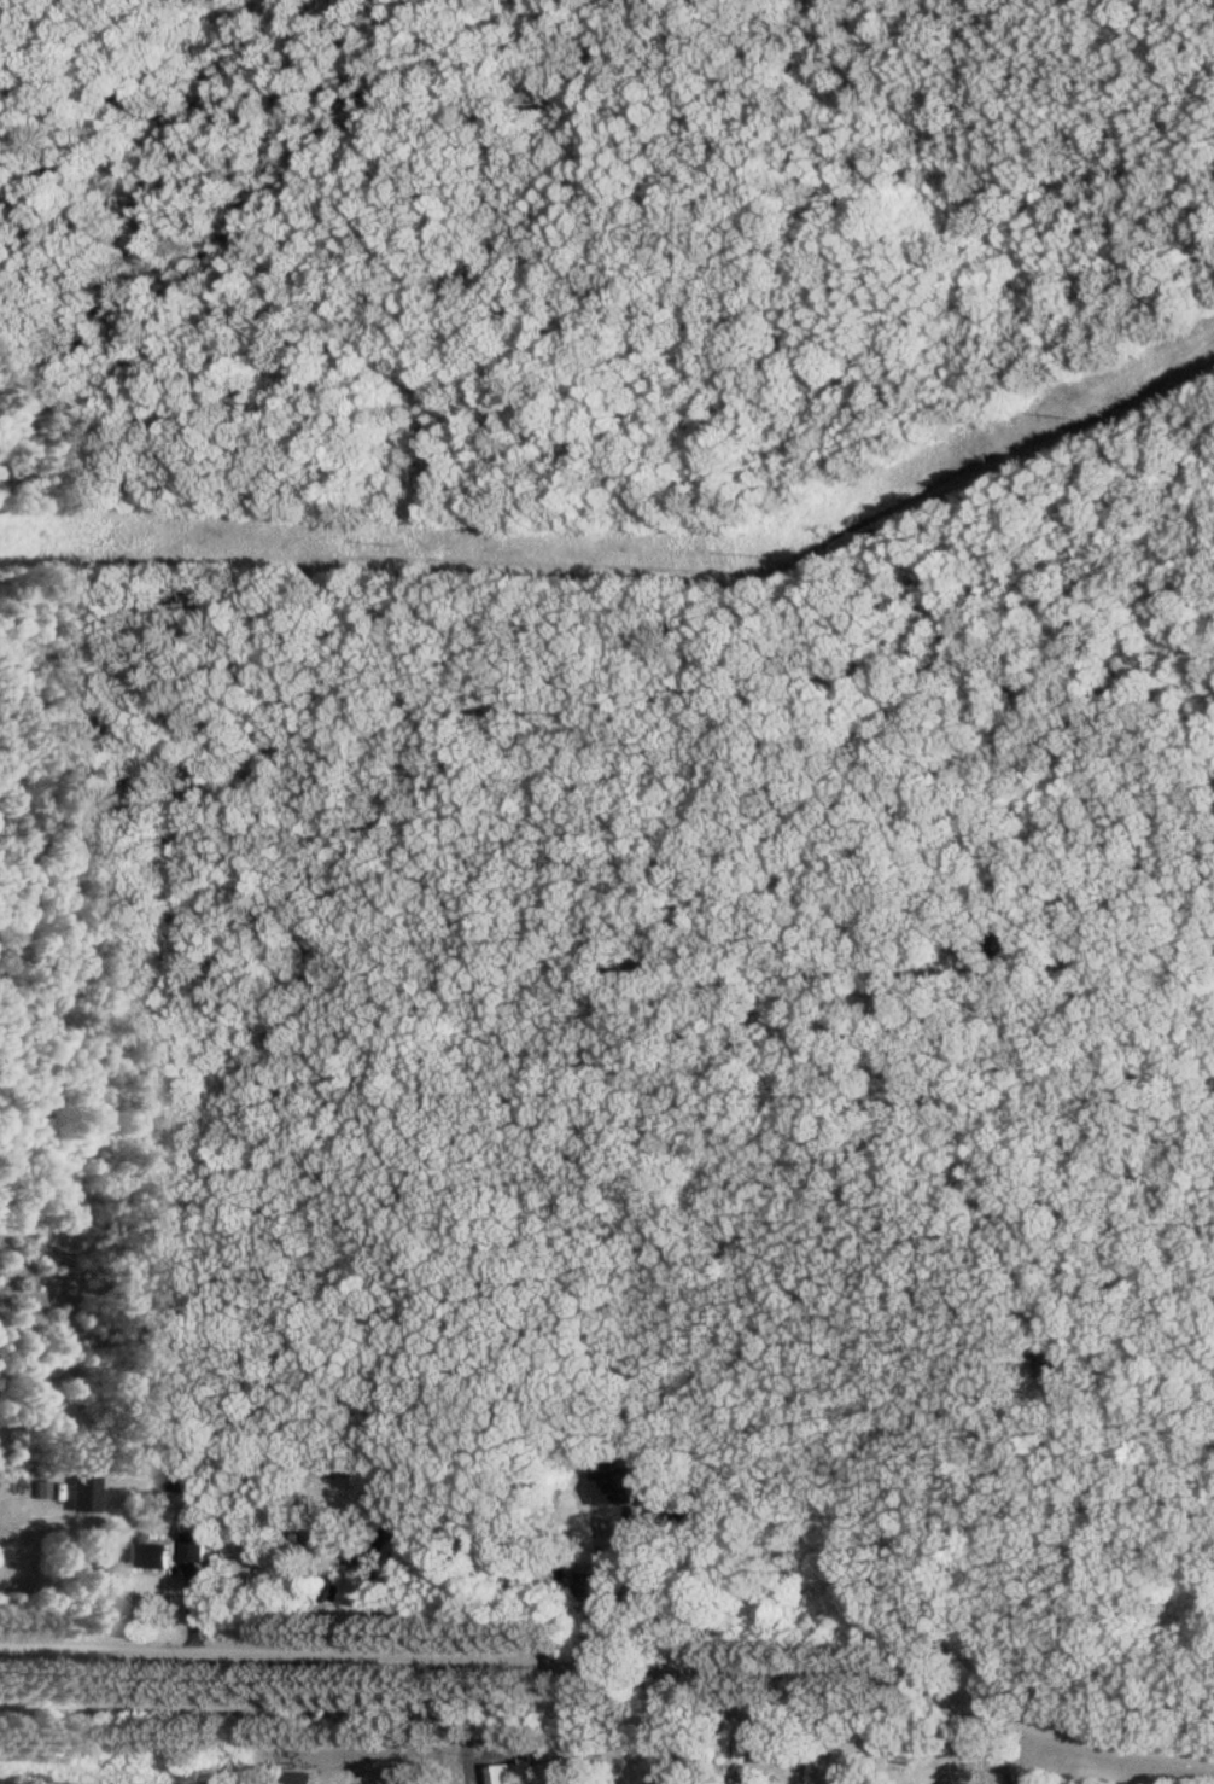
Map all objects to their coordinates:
building: (94, 1492)
building: (150, 1551)
road: (612, 1658)
building: (747, 1783)

